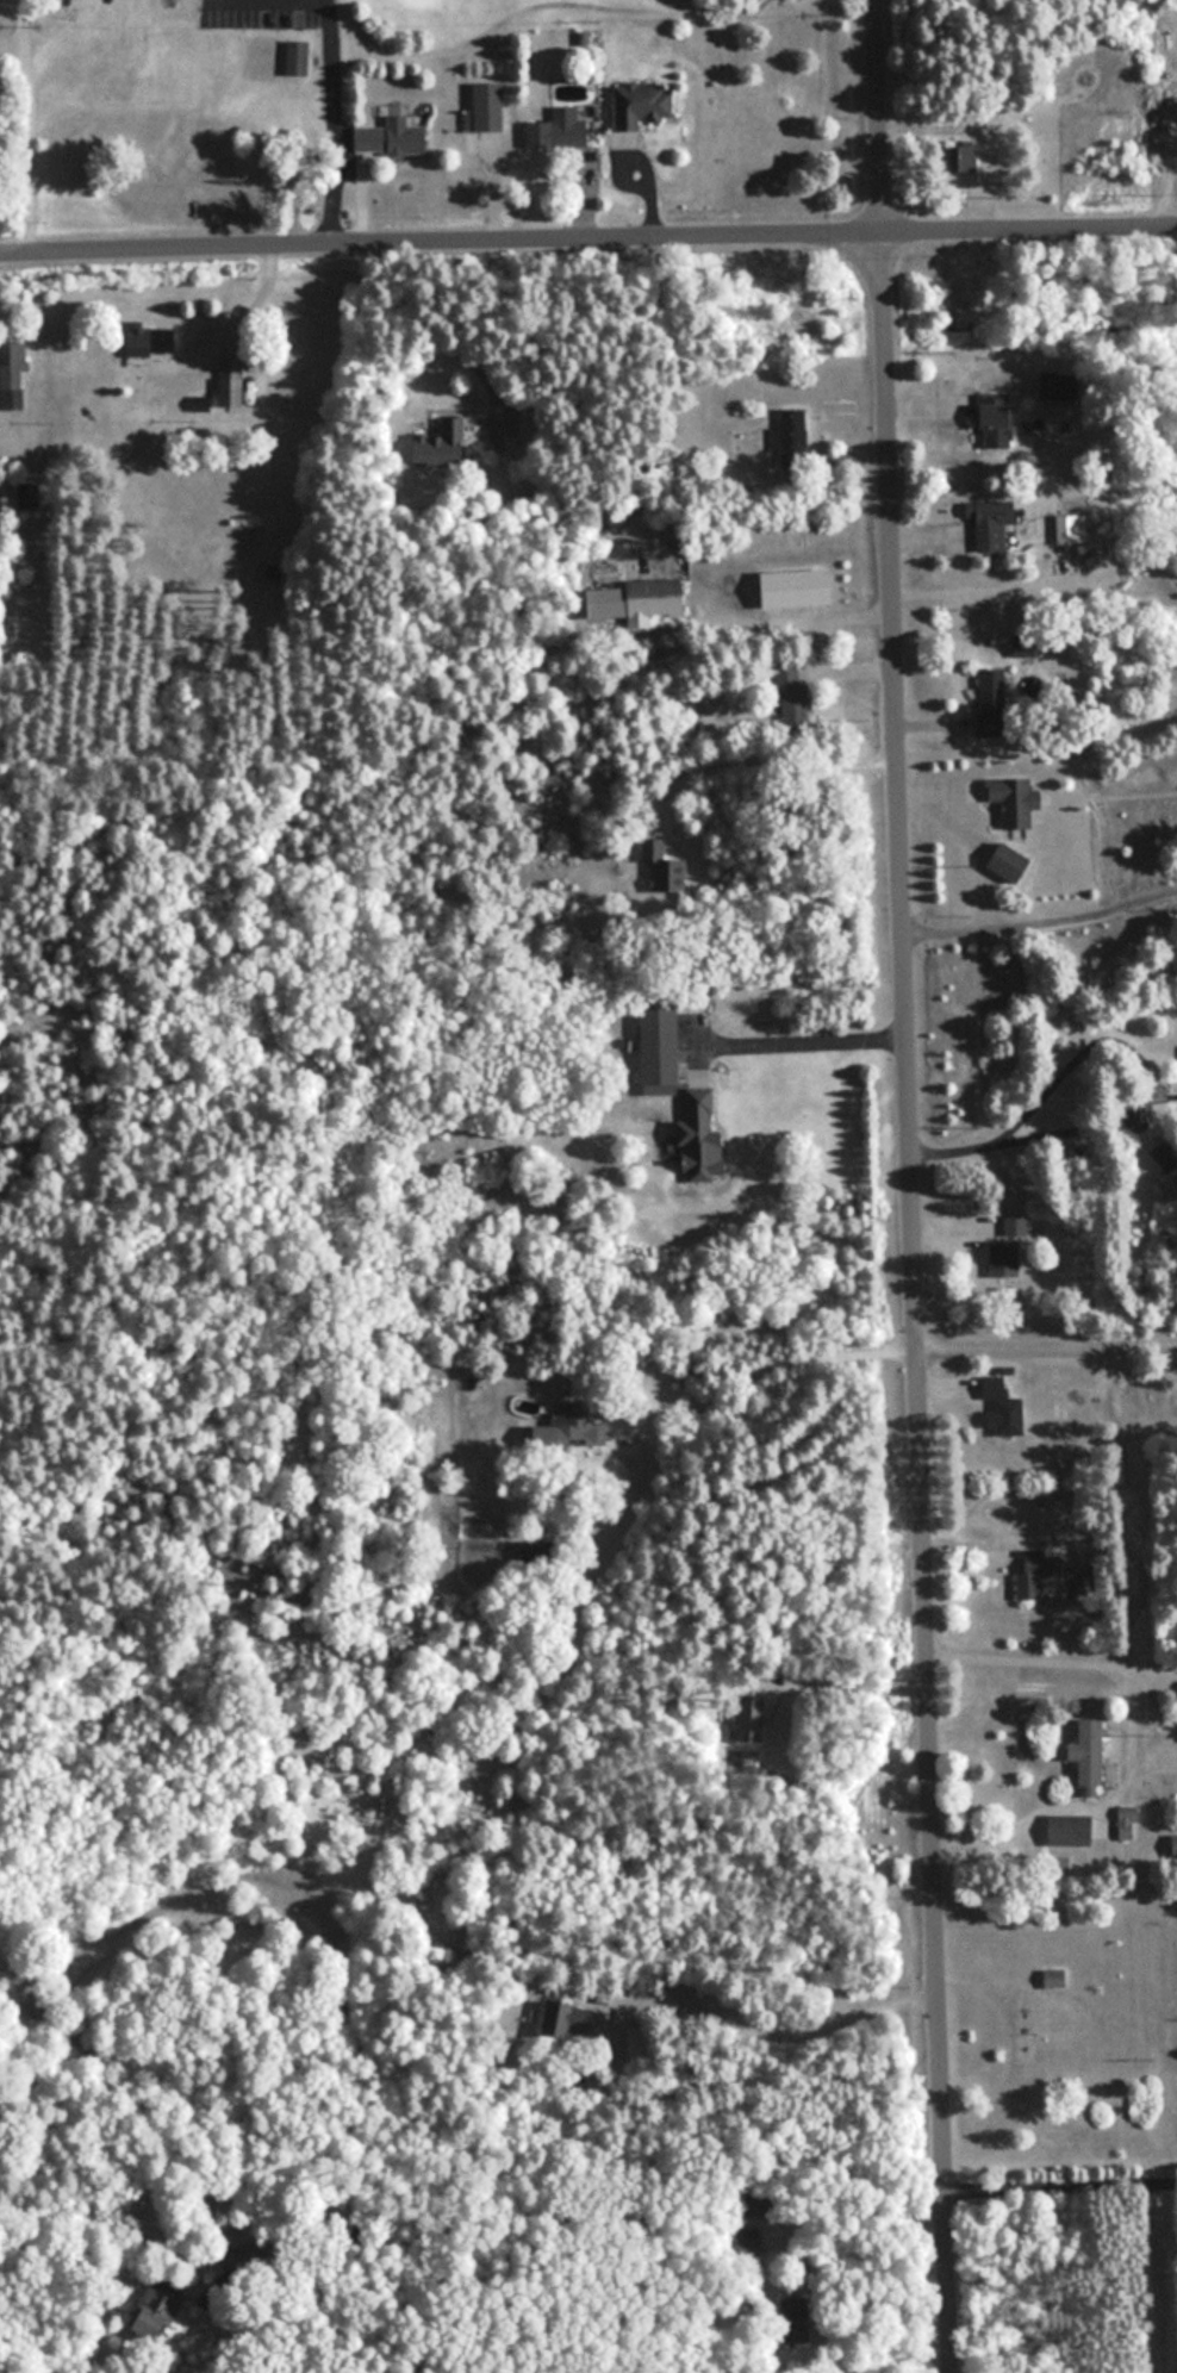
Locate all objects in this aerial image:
park: (474, 24)
road: (10, 48)
building: (298, 57)
building: (644, 102)
building: (487, 107)
road: (325, 123)
road: (21, 126)
building: (561, 129)
building: (393, 137)
road: (1164, 161)
road: (587, 238)
building: (149, 342)
building: (13, 373)
building: (231, 380)
building: (1050, 386)
building: (985, 418)
building: (791, 437)
building: (443, 443)
building: (31, 494)
building: (982, 524)
building: (1058, 531)
building: (798, 587)
building: (658, 594)
building: (982, 695)
building: (791, 696)
road: (764, 766)
road: (1035, 768)
building: (1016, 801)
building: (1010, 860)
building: (661, 868)
road: (1040, 918)
road: (799, 1039)
building: (664, 1041)
road: (1141, 1097)
building: (703, 1138)
building: (1165, 1156)
road: (905, 1186)
building: (1015, 1223)
building: (1004, 1257)
road: (1045, 1362)
building: (991, 1387)
building: (577, 1425)
building: (1038, 1571)
road: (1050, 1657)
road: (842, 1682)
building: (1094, 1754)
building: (1128, 1823)
building: (1071, 1831)
building: (1055, 1979)
road: (767, 2020)
road: (1058, 2181)
building: (155, 2315)

